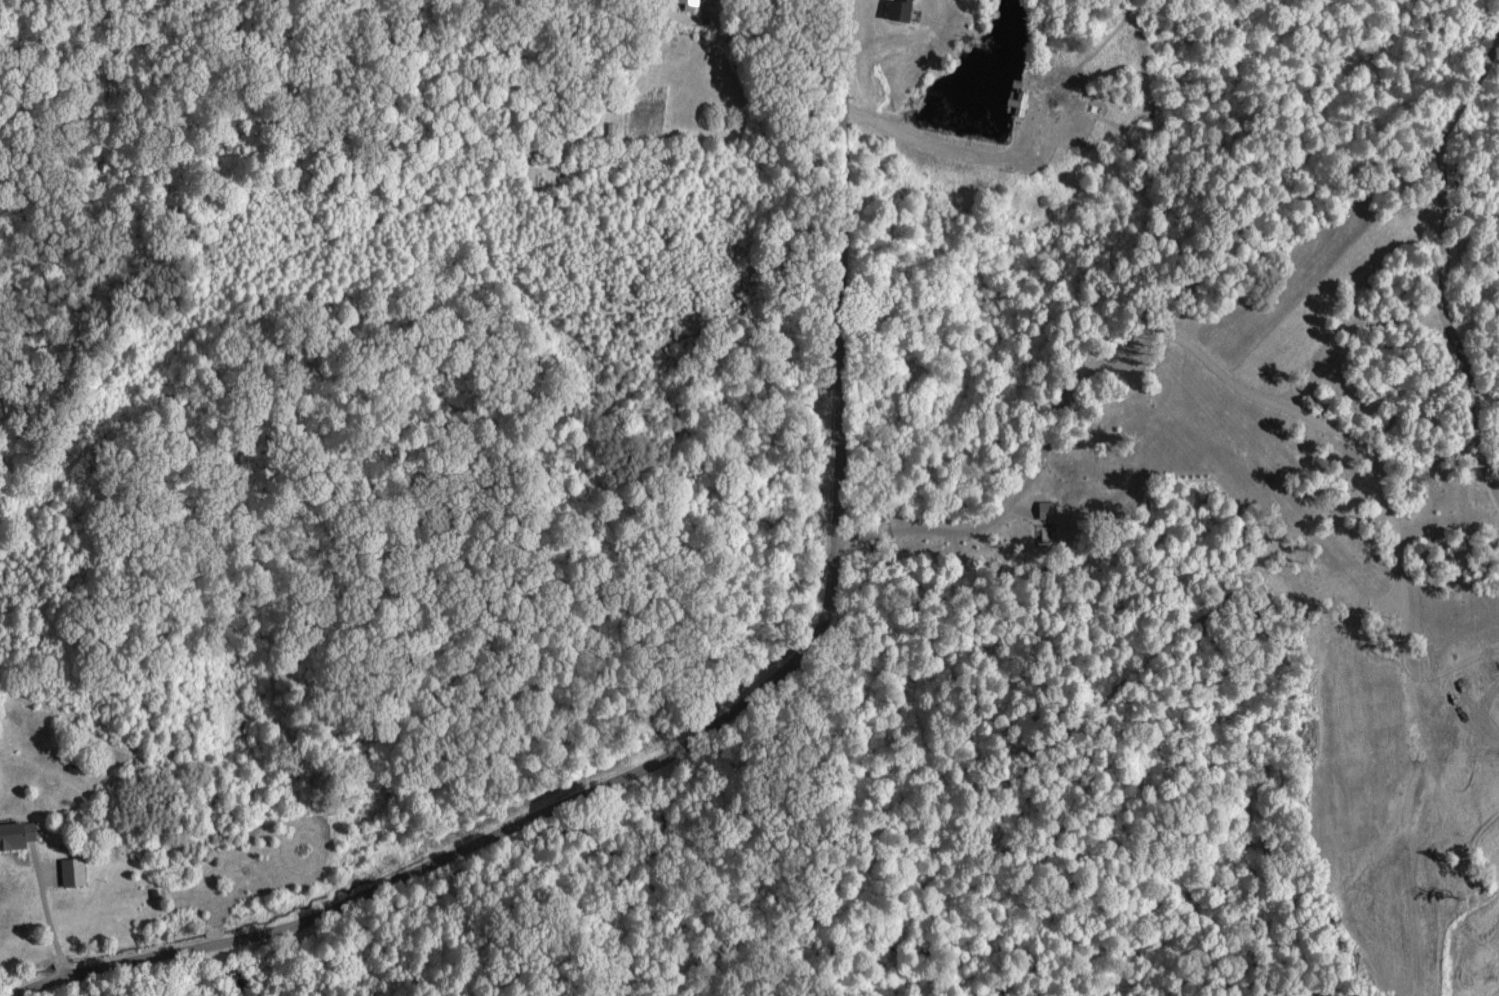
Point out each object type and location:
road: (718, 717)
building: (16, 834)
building: (72, 871)

